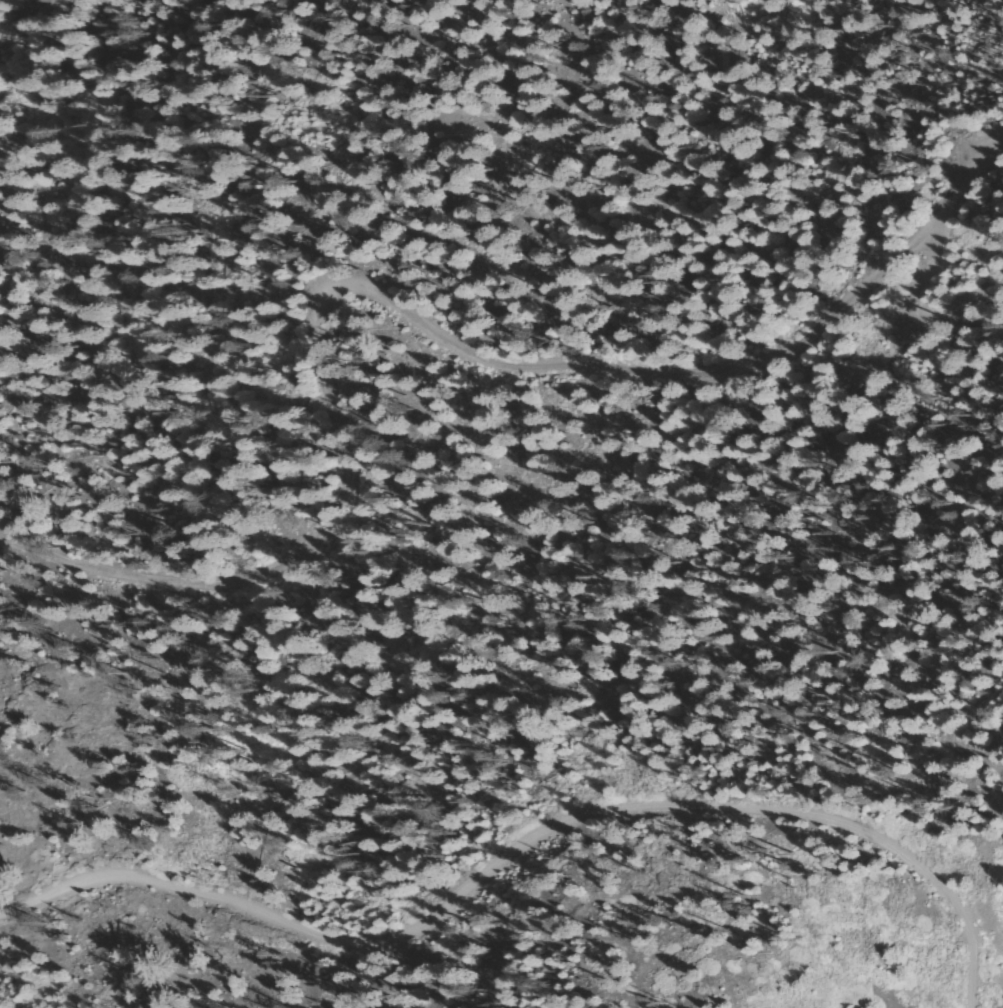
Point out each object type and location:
road: (921, 275)
road: (977, 297)
road: (517, 355)
road: (96, 551)
road: (525, 837)

